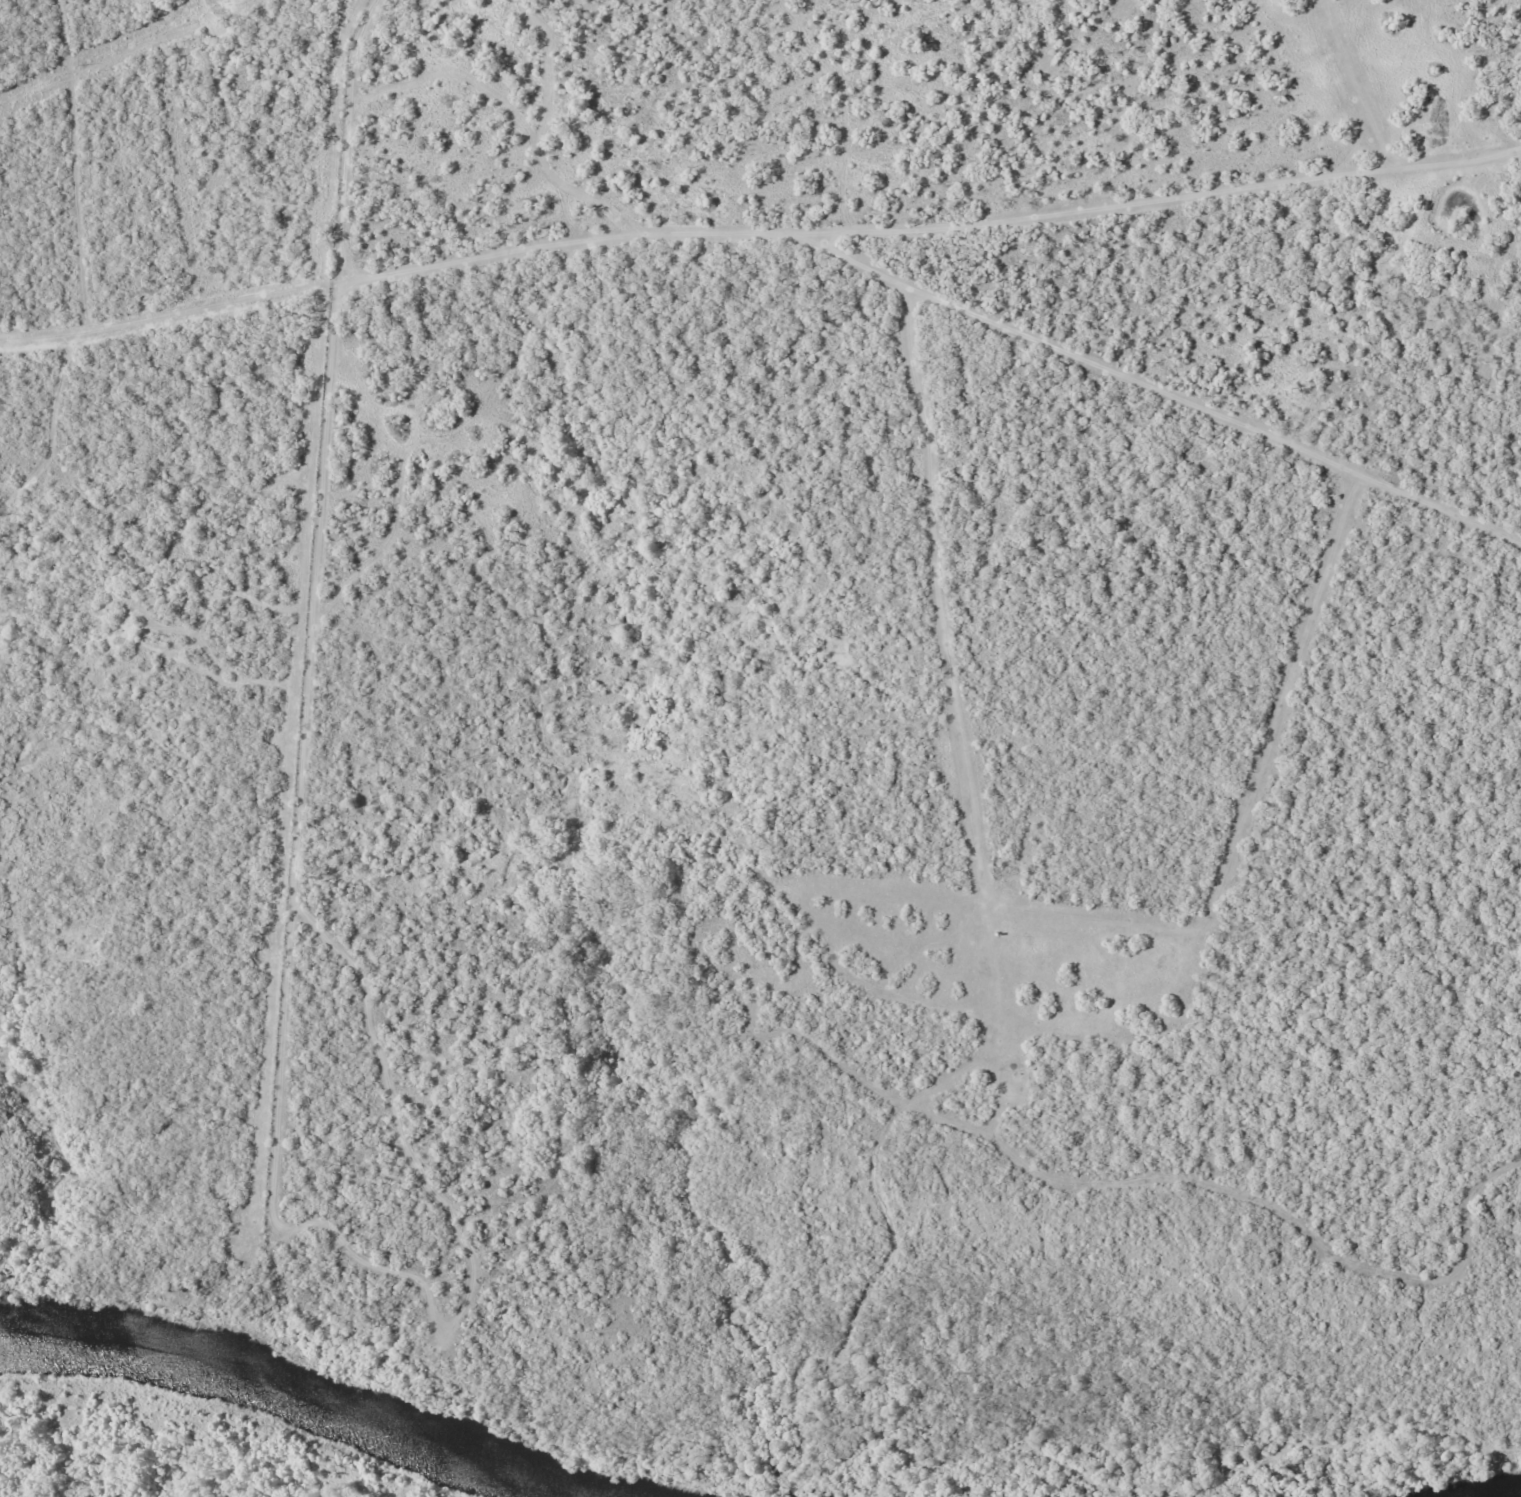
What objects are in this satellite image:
road: (1244, 241)
road: (787, 273)
river: (298, 1395)

